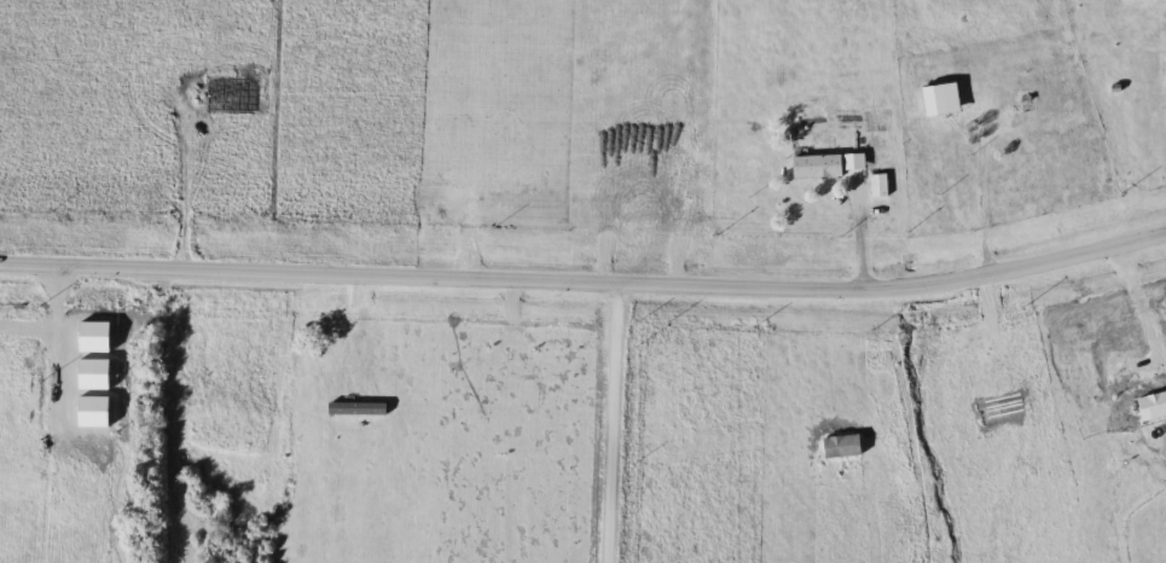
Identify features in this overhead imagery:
building: (946, 100)
building: (1007, 128)
building: (820, 167)
building: (881, 186)
road: (969, 192)
road: (586, 280)
road: (613, 422)

